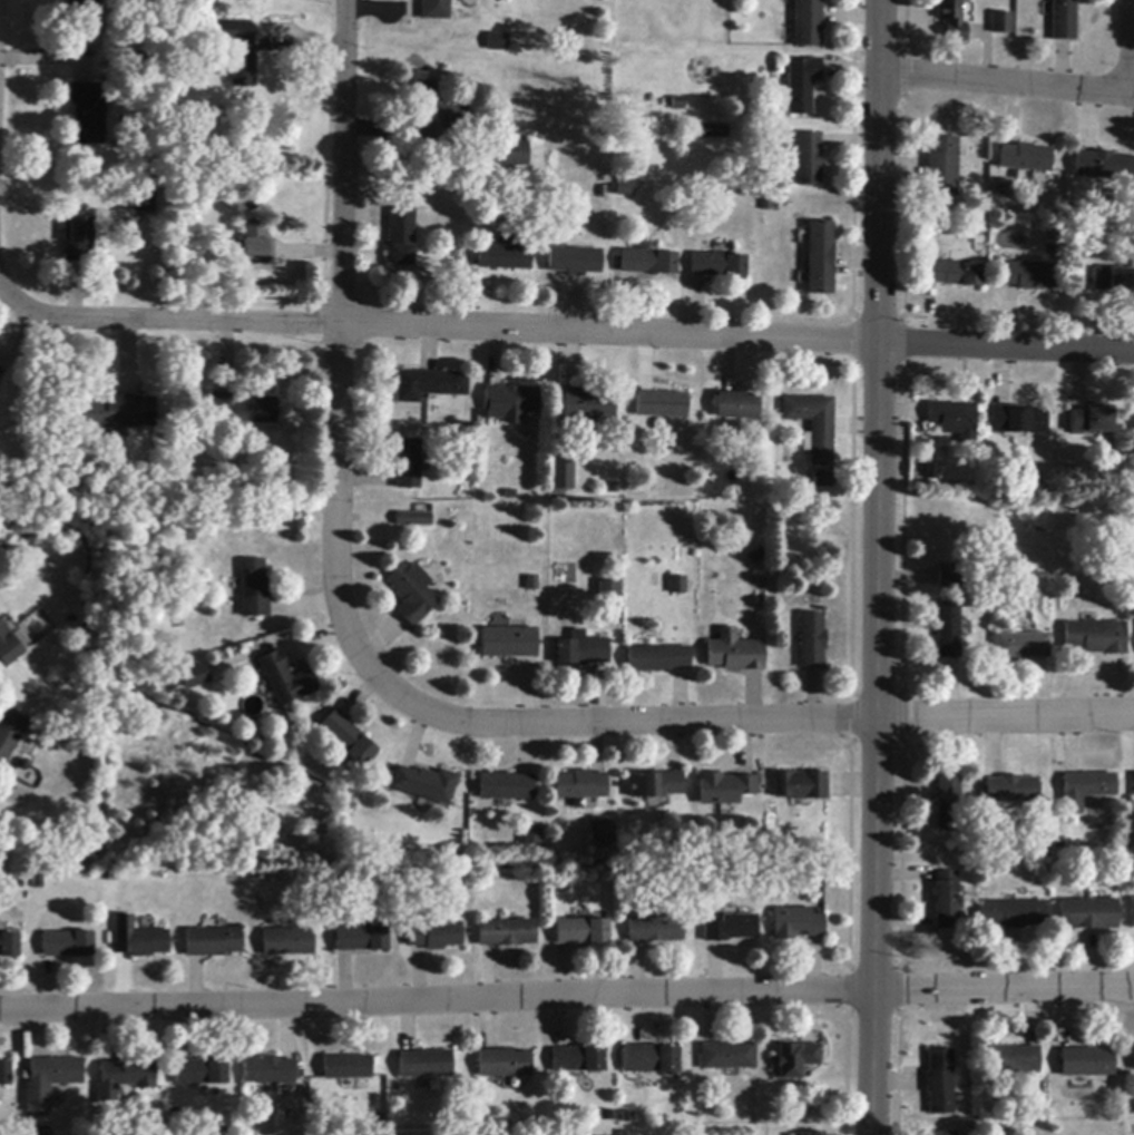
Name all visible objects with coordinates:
building: (86, 6)
building: (436, 10)
building: (952, 20)
building: (1064, 20)
building: (808, 23)
building: (1001, 23)
building: (498, 42)
building: (238, 50)
road: (1007, 84)
building: (801, 85)
building: (678, 104)
building: (436, 109)
building: (88, 112)
building: (713, 133)
building: (194, 140)
building: (514, 155)
building: (1025, 158)
building: (809, 159)
building: (1104, 166)
building: (942, 167)
building: (624, 187)
building: (1004, 187)
building: (145, 203)
building: (401, 237)
building: (78, 238)
building: (256, 243)
building: (506, 253)
building: (820, 258)
building: (576, 262)
building: (647, 263)
building: (718, 265)
building: (955, 274)
building: (1028, 276)
building: (1113, 282)
road: (1, 291)
road: (565, 333)
road: (336, 341)
building: (0, 371)
building: (0, 373)
building: (430, 385)
building: (510, 402)
building: (588, 405)
building: (662, 405)
building: (736, 407)
building: (242, 411)
building: (117, 414)
building: (954, 420)
building: (1017, 420)
building: (1089, 422)
building: (813, 427)
building: (589, 447)
building: (408, 464)
building: (932, 470)
building: (823, 481)
building: (557, 488)
building: (413, 520)
building: (757, 557)
road: (878, 567)
building: (948, 576)
building: (532, 584)
building: (678, 585)
building: (254, 589)
building: (412, 594)
building: (608, 598)
building: (948, 632)
building: (1095, 637)
building: (811, 640)
building: (509, 643)
building: (1021, 646)
building: (8, 648)
building: (581, 650)
building: (734, 653)
building: (658, 659)
building: (195, 676)
building: (285, 679)
road: (743, 722)
building: (9, 734)
building: (348, 738)
building: (1133, 783)
building: (424, 784)
building: (579, 785)
building: (656, 785)
building: (799, 786)
building: (506, 787)
building: (724, 789)
building: (1011, 790)
building: (1085, 790)
building: (948, 804)
building: (599, 830)
building: (530, 834)
building: (88, 857)
building: (309, 881)
building: (944, 900)
building: (1131, 912)
building: (1011, 914)
building: (1087, 914)
building: (796, 923)
building: (731, 929)
building: (655, 930)
building: (580, 931)
building: (506, 933)
building: (434, 936)
building: (138, 939)
building: (361, 939)
building: (213, 942)
building: (287, 942)
building: (67, 945)
building: (9, 946)
road: (566, 997)
building: (1133, 1054)
building: (727, 1056)
building: (651, 1059)
building: (1013, 1059)
building: (579, 1060)
building: (796, 1060)
building: (1086, 1063)
building: (504, 1064)
building: (426, 1065)
building: (349, 1068)
building: (203, 1072)
building: (270, 1072)
building: (6, 1074)
building: (125, 1078)
building: (50, 1082)
building: (939, 1082)
building: (43, 1131)
building: (625, 1134)
building: (940, 1134)

